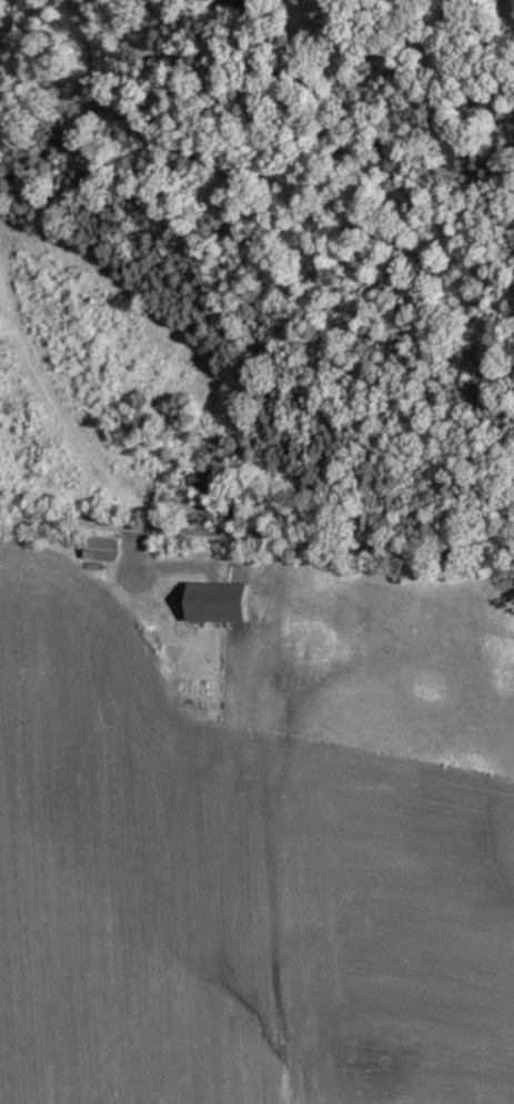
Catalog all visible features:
building: (99, 549)
road: (255, 549)
building: (214, 604)

